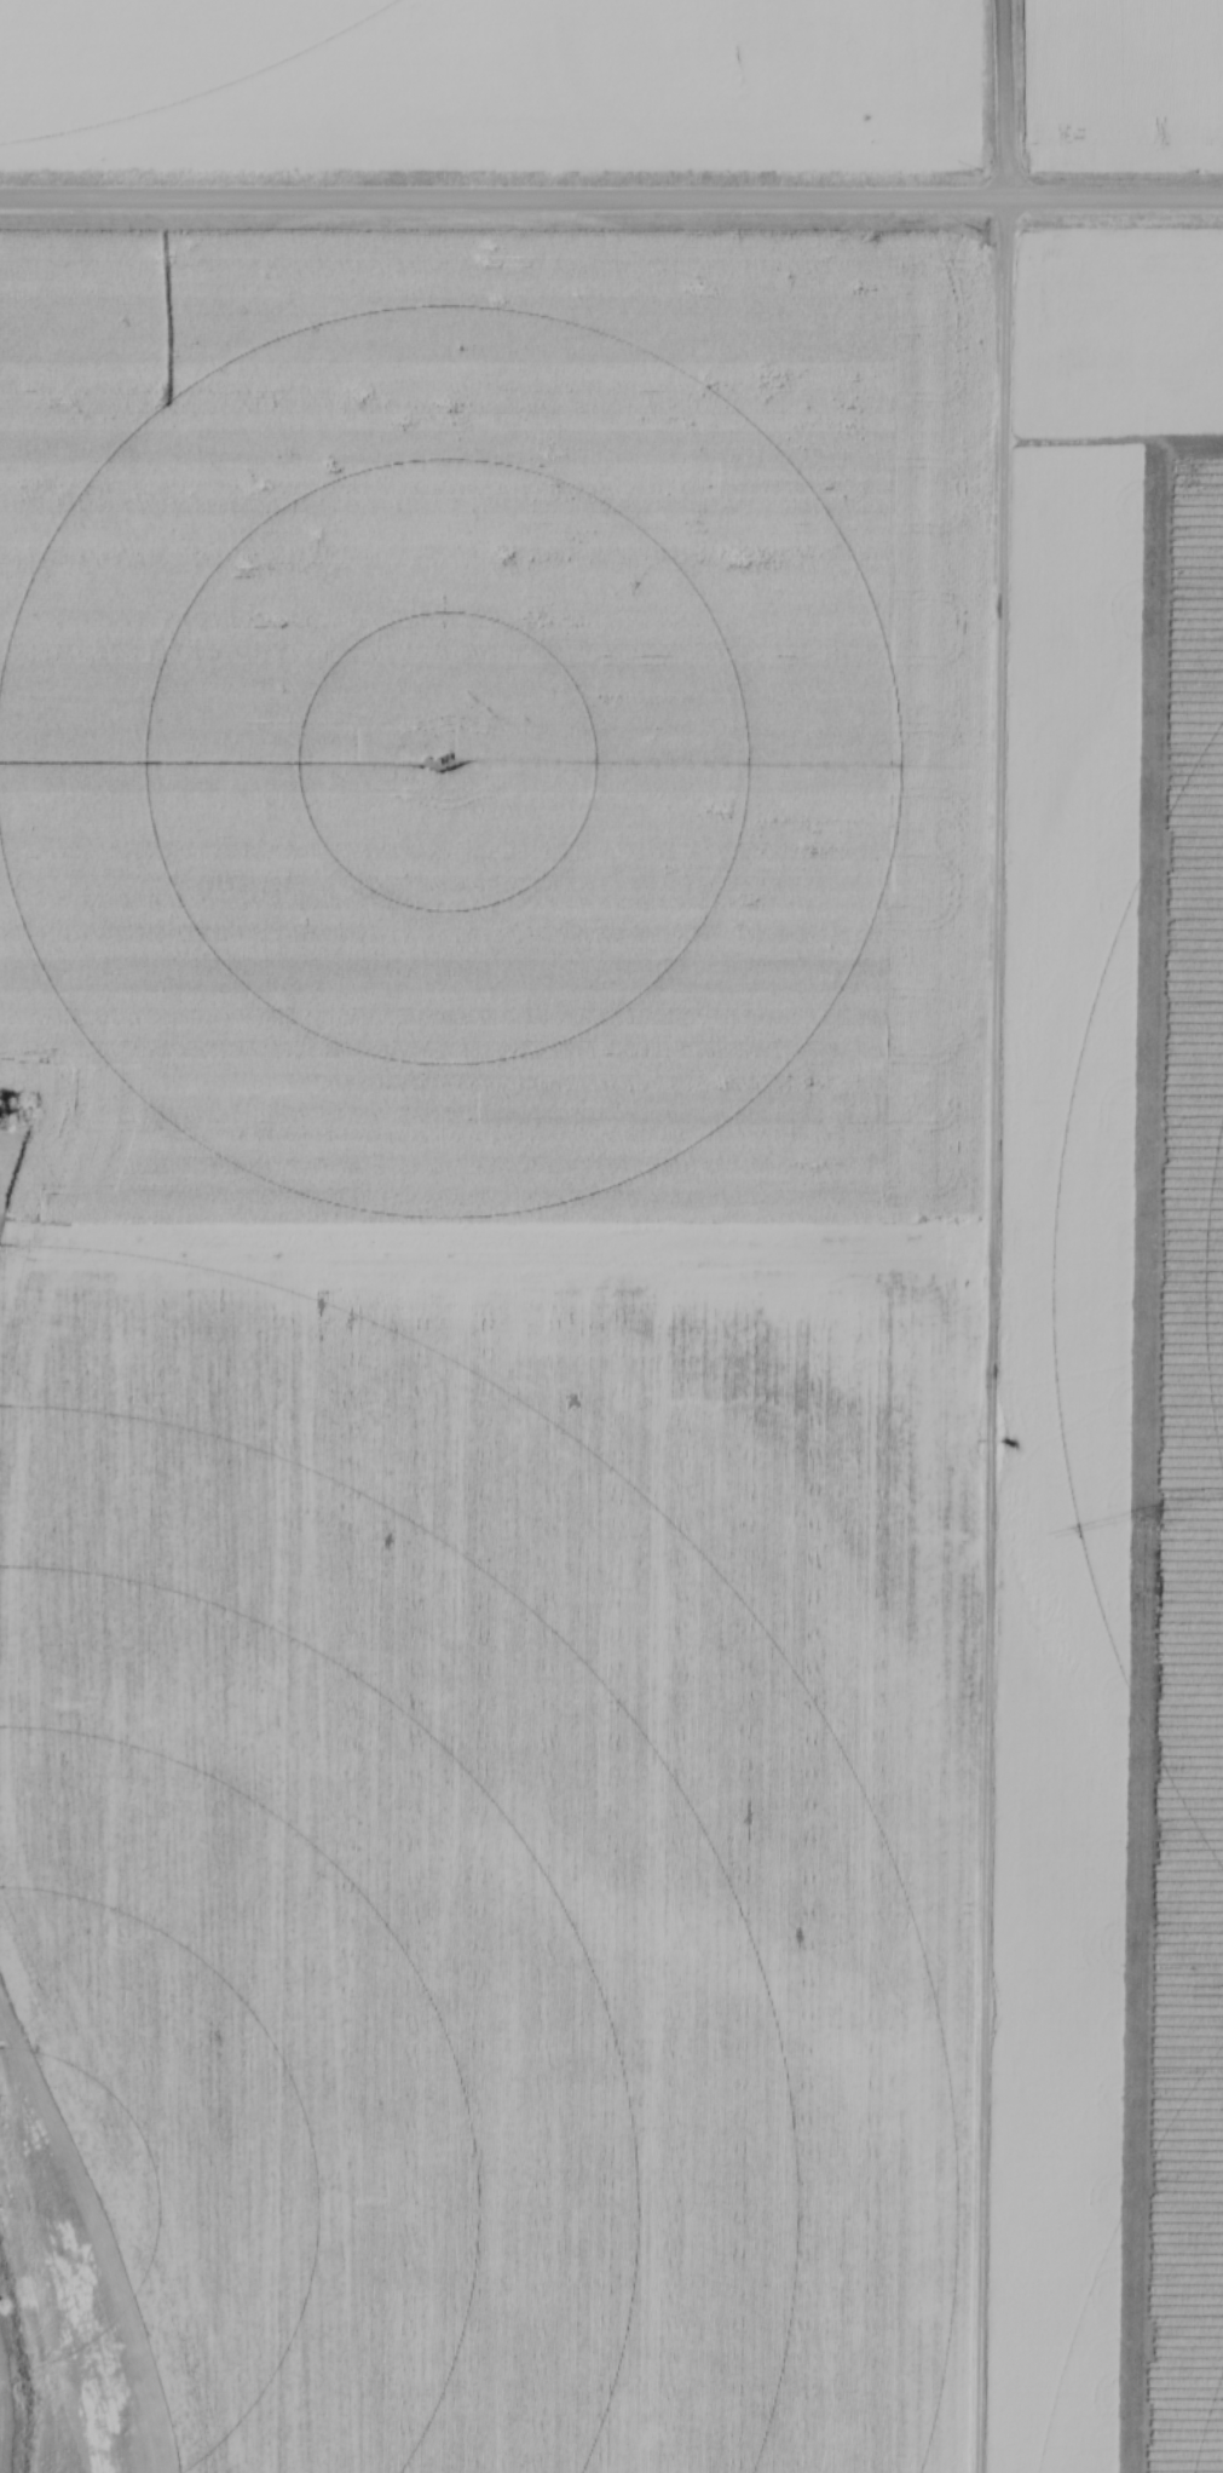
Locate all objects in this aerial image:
road: (1003, 102)
road: (611, 203)

